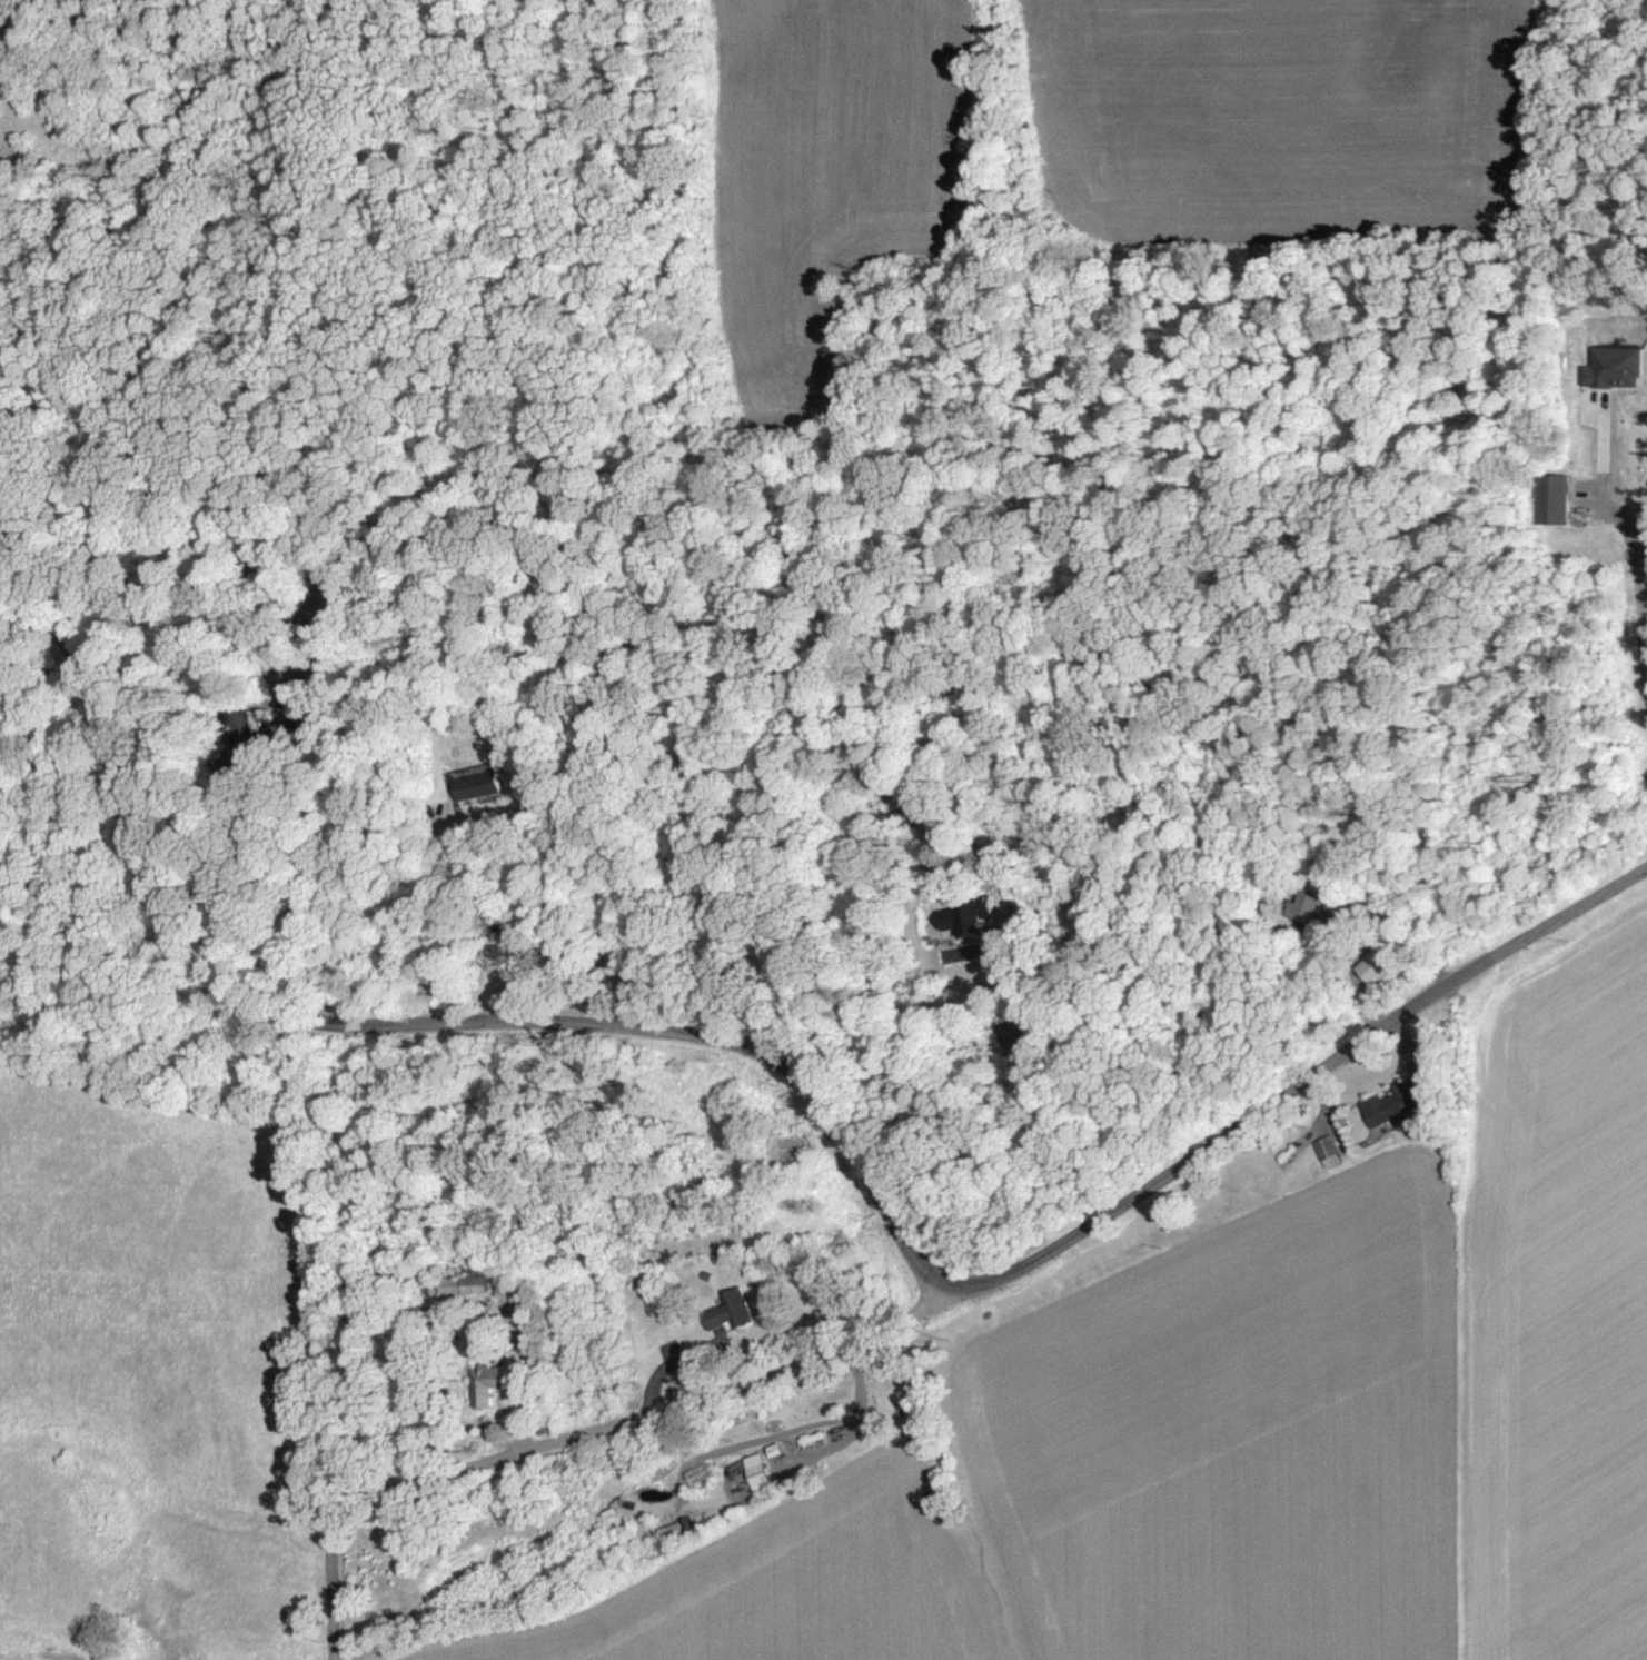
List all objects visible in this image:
building: (1608, 367)
building: (1549, 498)
road: (1630, 559)
road: (59, 627)
building: (483, 785)
building: (1302, 905)
building: (963, 915)
building: (1378, 965)
road: (849, 1146)
building: (1323, 1151)
building: (449, 1285)
building: (726, 1310)
building: (500, 1379)
road: (575, 1435)
building: (752, 1473)

